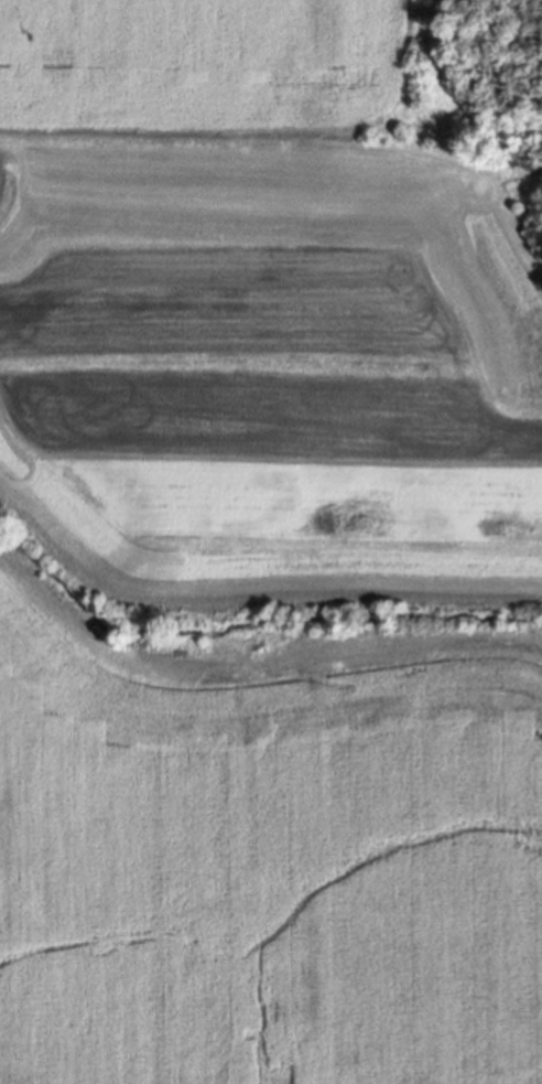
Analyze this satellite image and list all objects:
crop: (267, 859)

